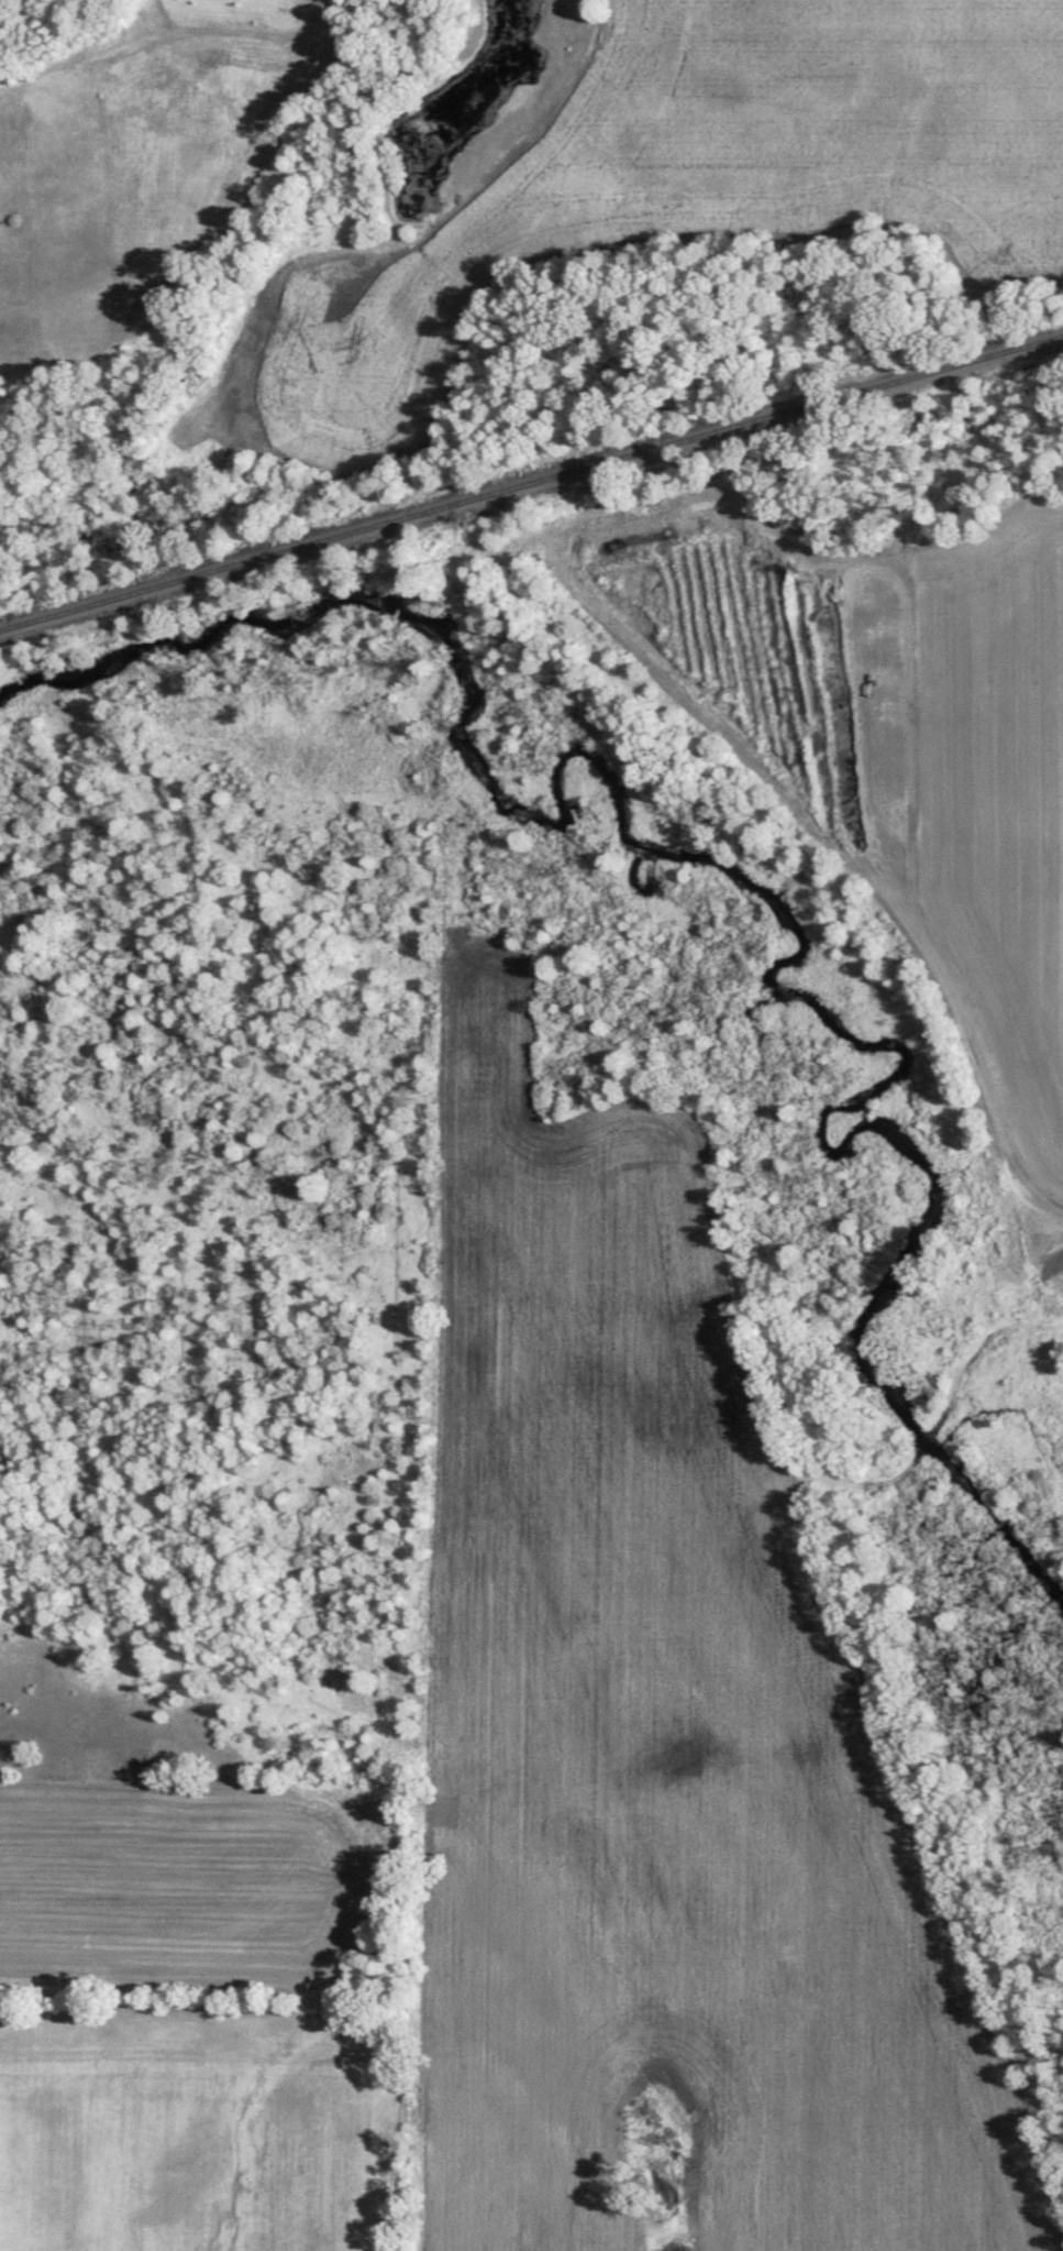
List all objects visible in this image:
railway: (531, 484)

